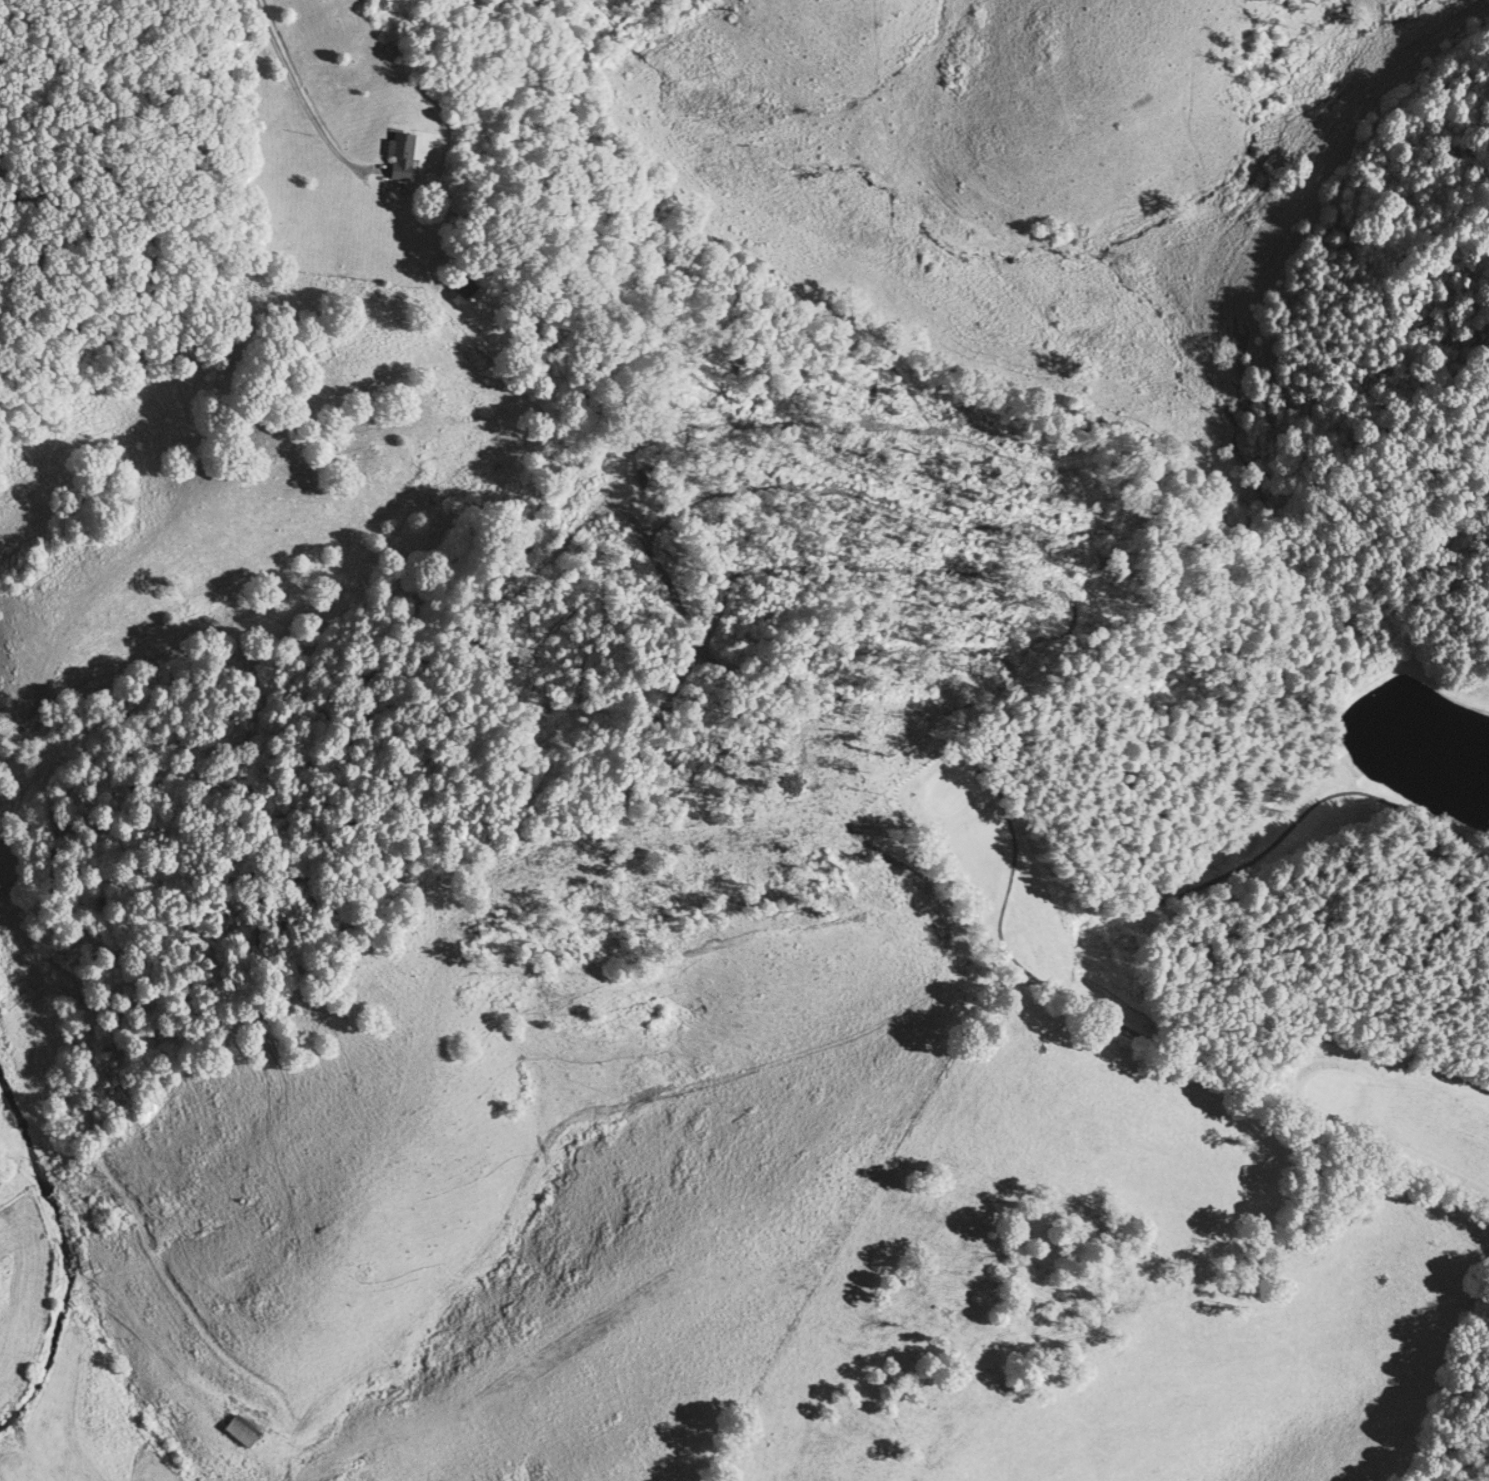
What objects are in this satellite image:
road: (296, 89)
building: (400, 155)
building: (460, 289)
park: (1267, 814)
building: (237, 1429)

